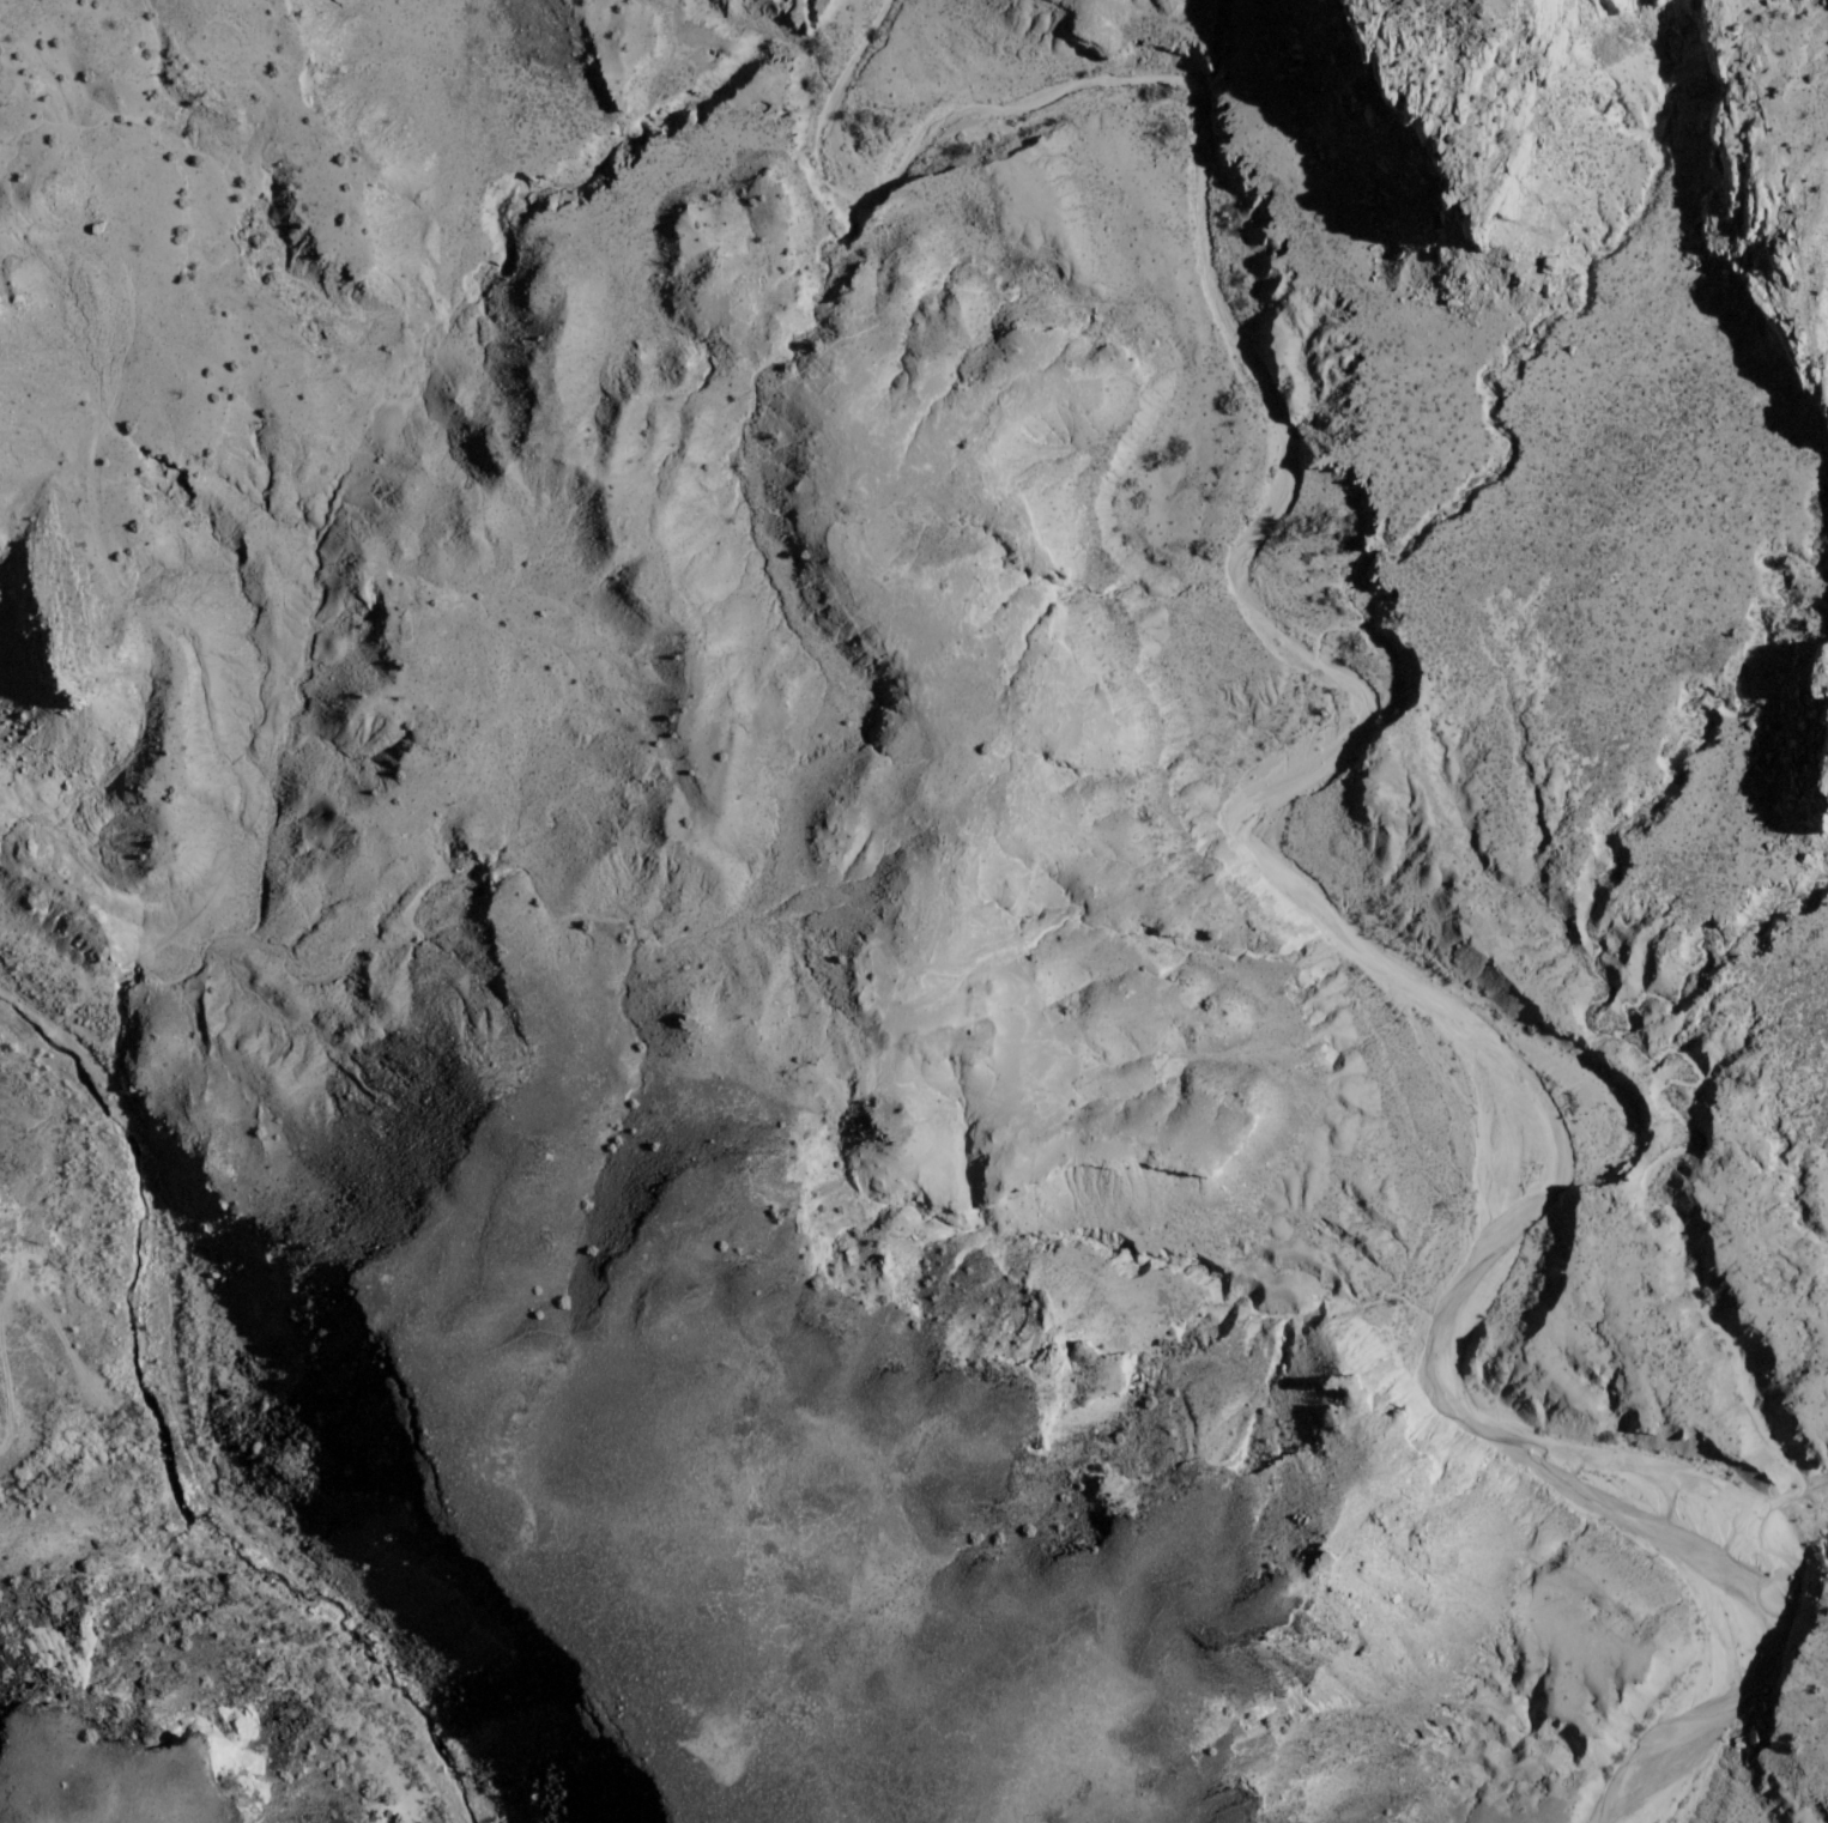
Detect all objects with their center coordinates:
road: (6, 1364)
river: (308, 1610)

